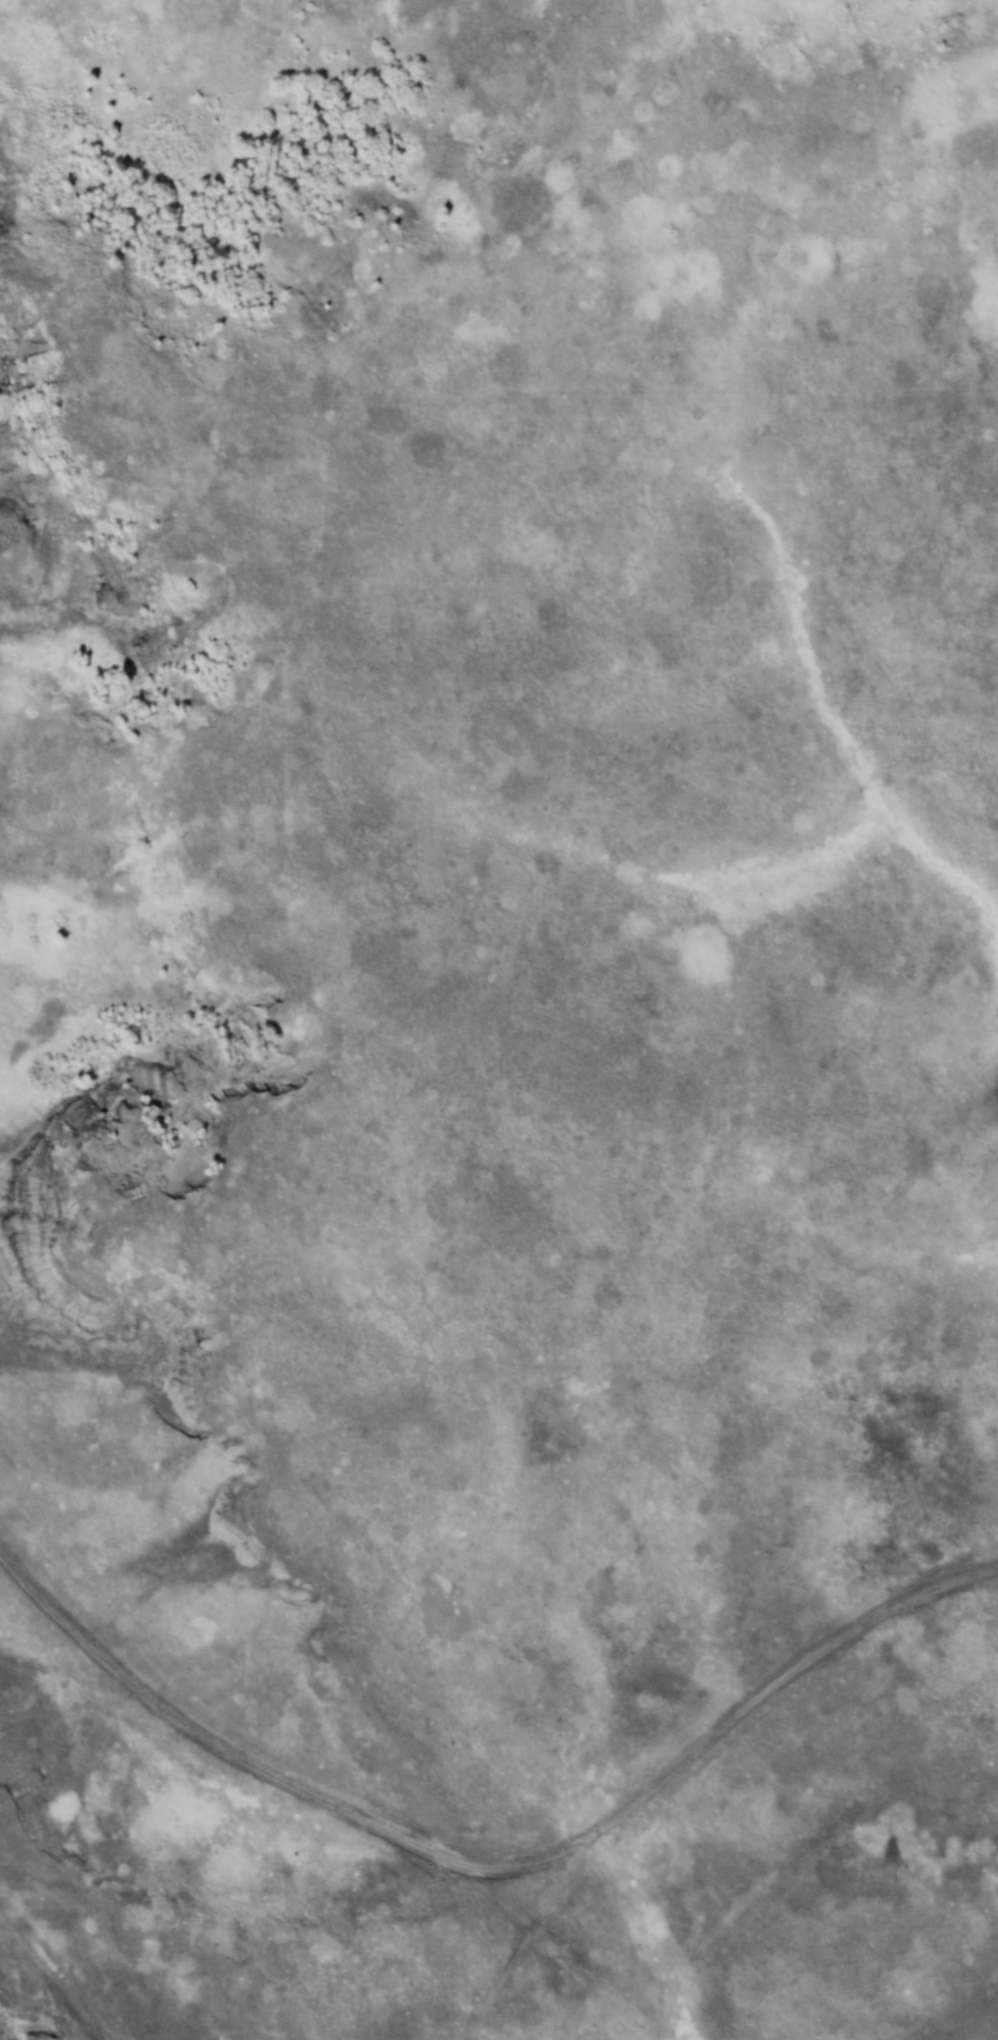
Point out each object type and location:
road: (490, 1869)
road: (536, 1926)
road: (54, 1974)

